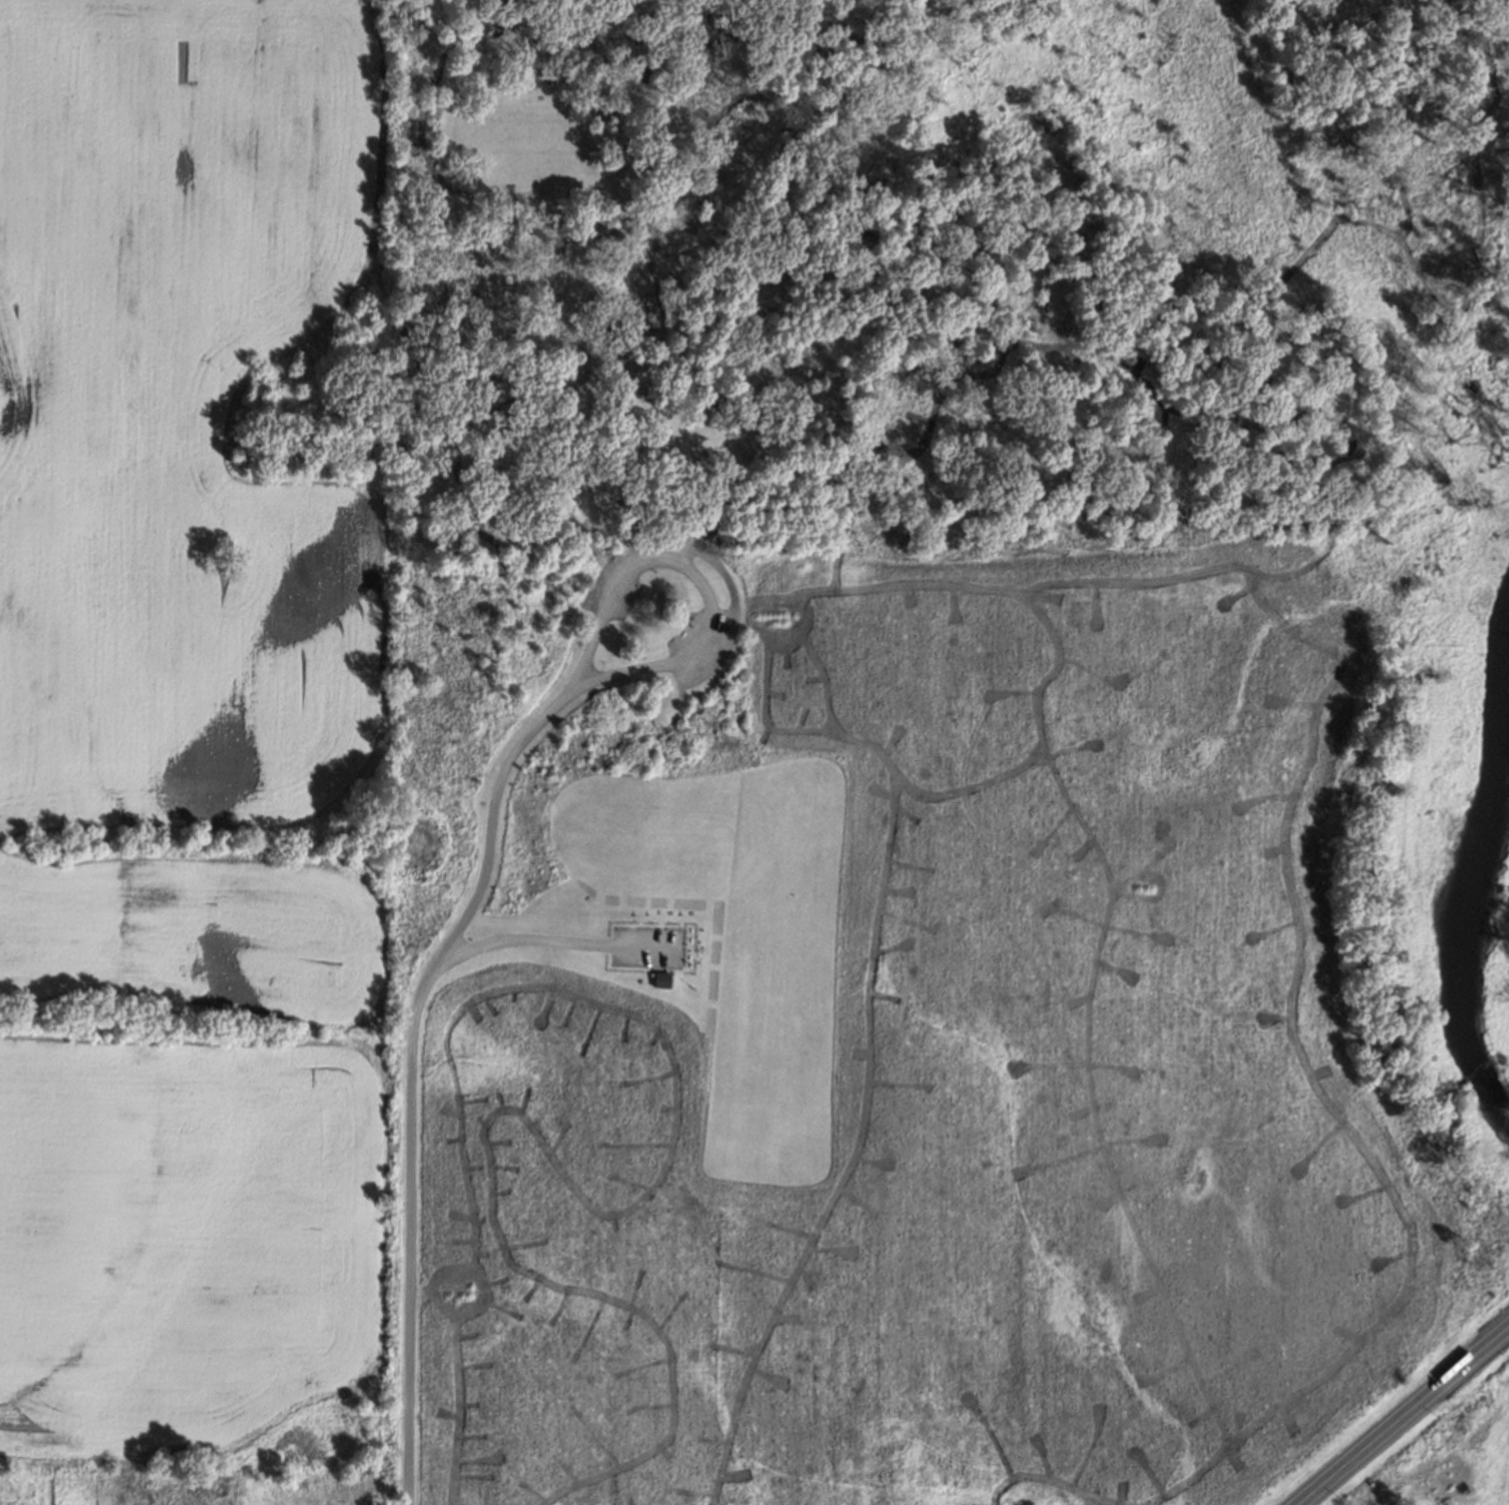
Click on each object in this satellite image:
road: (648, 367)
road: (700, 577)
parking lot: (614, 588)
parking lot: (702, 644)
river: (1472, 873)
road: (554, 939)
parking lot: (648, 946)
building: (665, 979)
park: (1051, 1015)
road: (410, 1072)
road: (1403, 1415)
road: (1436, 1458)

